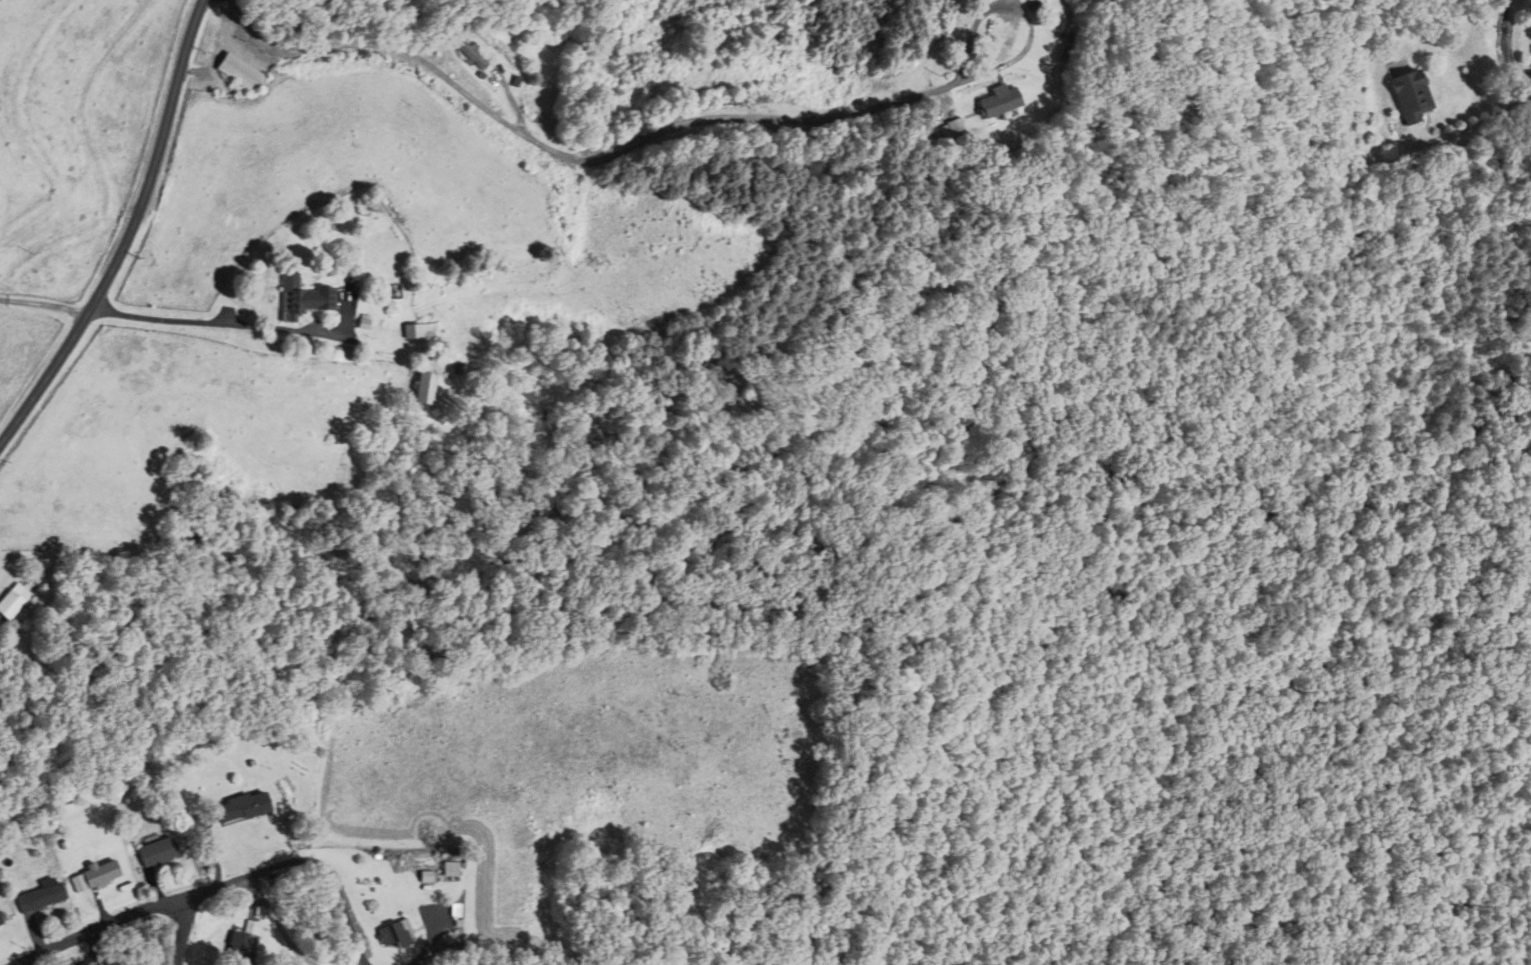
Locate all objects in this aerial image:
building: (473, 56)
building: (241, 73)
building: (1408, 95)
building: (996, 101)
road: (1479, 123)
road: (572, 159)
road: (130, 238)
building: (302, 298)
road: (45, 308)
road: (218, 325)
building: (419, 330)
building: (342, 354)
building: (424, 388)
building: (16, 601)
building: (241, 807)
building: (157, 852)
building: (101, 874)
building: (40, 896)
road: (344, 902)
road: (155, 907)
building: (454, 909)
building: (0, 924)
building: (255, 927)
road: (185, 932)
building: (395, 934)
building: (446, 947)
building: (241, 949)

